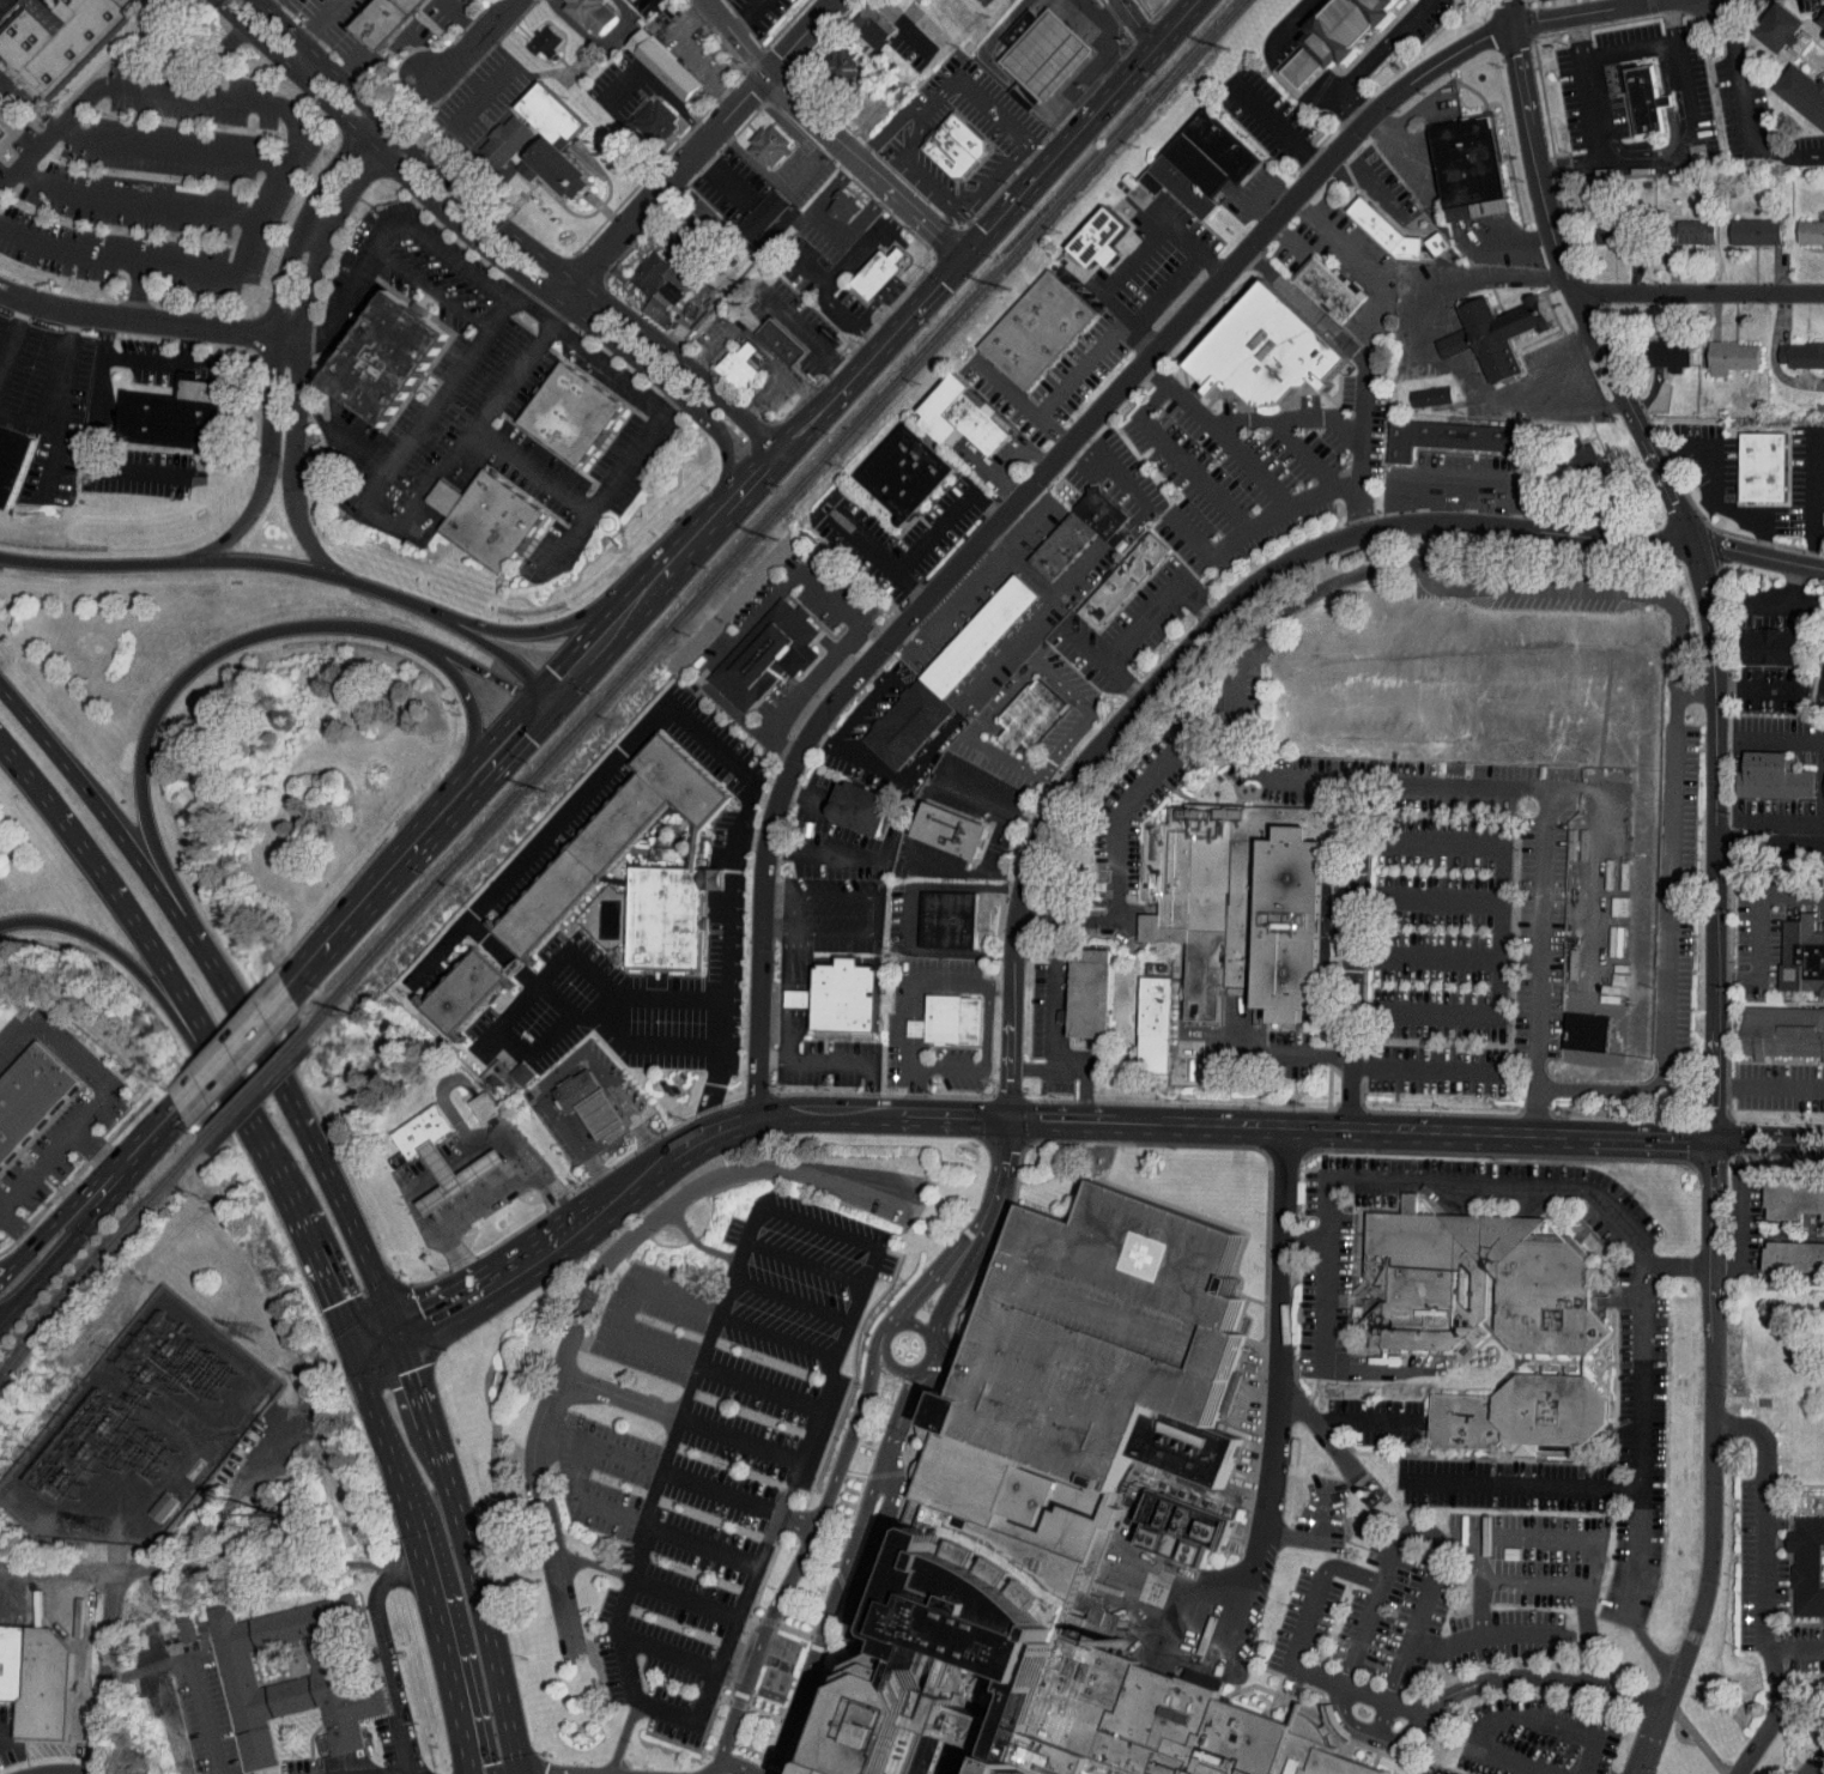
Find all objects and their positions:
road: (837, 0)
road: (1607, 4)
road: (1559, 7)
building: (580, 10)
road: (1581, 12)
road: (749, 14)
building: (1817, 14)
building: (381, 19)
road: (1292, 19)
building: (860, 20)
building: (1769, 22)
road: (319, 23)
road: (1138, 25)
building: (532, 34)
building: (1337, 34)
building: (55, 36)
road: (471, 41)
building: (1030, 46)
road: (1381, 48)
road: (1289, 50)
road: (1631, 50)
road: (691, 54)
building: (665, 65)
road: (1303, 65)
road: (304, 67)
road: (1737, 69)
road: (1320, 83)
building: (1631, 92)
building: (1798, 92)
road: (28, 102)
road: (984, 104)
road: (1345, 108)
building: (643, 110)
road: (886, 126)
road: (1278, 126)
building: (492, 132)
building: (539, 133)
road: (834, 133)
building: (756, 138)
building: (771, 146)
building: (956, 146)
road: (165, 149)
road: (287, 150)
road: (699, 150)
road: (1783, 156)
road: (753, 162)
building: (1200, 163)
road: (812, 164)
road: (1650, 165)
building: (1467, 168)
road: (943, 198)
building: (830, 199)
road: (133, 200)
building: (751, 205)
building: (846, 206)
road: (938, 211)
building: (764, 212)
building: (1594, 225)
building: (1747, 225)
building: (1804, 225)
building: (1680, 226)
road: (824, 228)
road: (885, 229)
building: (1386, 231)
road: (508, 232)
road: (310, 234)
road: (1281, 234)
building: (1424, 237)
building: (1102, 243)
building: (1437, 244)
road: (485, 246)
road: (1352, 255)
traffic signals: (968, 260)
road: (1131, 260)
road: (455, 262)
building: (866, 265)
road: (806, 270)
road: (842, 271)
building: (879, 271)
building: (644, 279)
road: (349, 281)
road: (889, 281)
road: (1495, 281)
building: (1327, 287)
road: (426, 290)
road: (1698, 292)
road: (135, 293)
road: (849, 317)
road: (146, 323)
building: (1490, 326)
building: (1037, 329)
road: (1114, 331)
road: (1335, 333)
building: (1441, 335)
road: (272, 337)
road: (12, 338)
building: (782, 341)
road: (295, 345)
building: (1271, 350)
building: (1672, 352)
building: (1802, 353)
building: (386, 355)
building: (1734, 356)
building: (725, 358)
road: (1428, 361)
road: (160, 362)
road: (605, 364)
building: (739, 365)
road: (1549, 367)
building: (1418, 388)
building: (1430, 396)
road: (1019, 401)
road: (63, 402)
road: (1565, 402)
building: (569, 412)
building: (168, 413)
building: (962, 416)
road: (1292, 419)
road: (92, 436)
road: (335, 440)
building: (1462, 440)
building: (1572, 449)
road: (1304, 455)
building: (14, 464)
road: (1253, 464)
road: (51, 465)
building: (1764, 467)
building: (905, 472)
road: (1111, 473)
road: (1447, 474)
road: (738, 488)
road: (1214, 496)
road: (1302, 498)
road: (1419, 498)
road: (1814, 498)
road: (1466, 501)
road: (1012, 503)
road: (589, 504)
road: (1729, 508)
railway: (771, 514)
building: (486, 516)
road: (943, 517)
road: (1014, 519)
road: (371, 520)
building: (1078, 532)
road: (565, 538)
road: (878, 557)
road: (292, 565)
road: (1074, 571)
building: (1110, 573)
building: (1122, 580)
road: (952, 586)
road: (1564, 592)
road: (1243, 598)
road: (1784, 603)
road: (747, 620)
road: (1139, 626)
road: (547, 628)
building: (1822, 638)
road: (1083, 644)
building: (1771, 647)
building: (765, 652)
road: (491, 676)
building: (949, 676)
road: (1023, 676)
traffic signals: (563, 680)
traffic signals: (511, 688)
road: (805, 690)
road: (1756, 691)
road: (166, 696)
road: (970, 696)
road: (869, 701)
building: (1029, 715)
road: (473, 718)
traffic signals: (519, 728)
road: (705, 737)
road: (1770, 737)
road: (1235, 744)
building: (1775, 776)
building: (1818, 777)
road: (1053, 783)
road: (1820, 794)
road: (805, 797)
building: (860, 805)
road: (910, 813)
road: (110, 827)
building: (950, 828)
road: (1717, 835)
building: (612, 836)
road: (755, 837)
road: (1459, 841)
road: (1770, 844)
road: (820, 853)
road: (90, 867)
road: (875, 896)
building: (1244, 902)
road: (910, 913)
building: (668, 915)
building: (947, 918)
road: (1758, 925)
road: (778, 928)
road: (1497, 928)
road: (1666, 928)
road: (93, 937)
road: (1352, 955)
building: (1800, 956)
road: (1539, 962)
road: (586, 970)
road: (998, 982)
road: (904, 985)
building: (784, 991)
building: (1092, 992)
building: (465, 993)
road: (798, 994)
building: (847, 997)
road: (551, 999)
road: (1054, 1011)
building: (1141, 1012)
road: (1449, 1012)
road: (592, 1015)
building: (949, 1018)
building: (1157, 1019)
building: (1783, 1031)
road: (648, 1045)
road: (236, 1047)
road: (1275, 1055)
road: (982, 1060)
road: (840, 1061)
building: (508, 1066)
road: (1423, 1068)
road: (560, 1070)
road: (1084, 1079)
railway: (252, 1085)
road: (1769, 1088)
building: (576, 1090)
road: (909, 1092)
road: (232, 1095)
building: (30, 1096)
road: (102, 1097)
building: (469, 1100)
building: (601, 1113)
road: (880, 1116)
traffic signals: (1006, 1121)
road: (1262, 1126)
building: (422, 1130)
road: (496, 1134)
road: (705, 1134)
road: (1671, 1139)
traffic signals: (1715, 1142)
road: (97, 1149)
road: (309, 1149)
road: (133, 1156)
road: (444, 1170)
building: (454, 1175)
road: (636, 1179)
road: (998, 1191)
road: (484, 1199)
road: (414, 1201)
building: (1794, 1203)
road: (592, 1209)
road: (1, 1210)
road: (1619, 1215)
road: (19, 1225)
road: (820, 1225)
road: (55, 1227)
road: (1738, 1229)
road: (698, 1245)
railway: (95, 1255)
helipad: (1151, 1255)
building: (1794, 1255)
road: (614, 1257)
road: (523, 1259)
road: (14, 1260)
road: (808, 1260)
road: (14, 1264)
road: (47, 1266)
road: (1680, 1266)
road: (323, 1275)
road: (923, 1288)
road: (945, 1297)
traffic signals: (334, 1301)
road: (792, 1301)
road: (625, 1308)
road: (719, 1312)
traffic signals: (426, 1316)
road: (414, 1321)
road: (735, 1321)
road: (913, 1322)
building: (1496, 1325)
building: (1098, 1332)
parking garage: (1098, 1332)
road: (881, 1333)
road: (927, 1354)
road: (920, 1366)
road: (889, 1367)
road: (717, 1370)
traffic signals: (408, 1372)
road: (1286, 1385)
road: (414, 1391)
road: (619, 1398)
road: (1346, 1427)
power substation: (139, 1430)
parking lot: (708, 1440)
road: (739, 1442)
road: (1344, 1451)
power tower: (139, 1465)
road: (580, 1470)
power tower: (149, 1473)
road: (672, 1473)
road: (1531, 1482)
road: (789, 1487)
building: (150, 1500)
road: (798, 1520)
power tower: (101, 1526)
road: (669, 1532)
building: (1190, 1532)
road: (1317, 1533)
road: (1537, 1534)
road: (426, 1557)
road: (798, 1558)
road: (557, 1561)
building: (1808, 1566)
road: (843, 1567)
road: (111, 1570)
road: (1761, 1581)
road: (1532, 1585)
road: (631, 1587)
road: (1479, 1587)
road: (1188, 1593)
road: (685, 1598)
road: (1376, 1603)
road: (848, 1610)
road: (1586, 1610)
road: (479, 1611)
building: (172, 1618)
road: (1479, 1637)
road: (462, 1646)
building: (1029, 1648)
road: (665, 1651)
road: (383, 1652)
road: (1795, 1653)
building: (275, 1669)
road: (110, 1672)
road: (193, 1677)
road: (1535, 1677)
building: (36, 1679)
road: (1371, 1695)
road: (81, 1696)
road: (95, 1696)
road: (665, 1714)
road: (1509, 1717)
road: (1652, 1737)
road: (1696, 1737)
road: (623, 1738)
traffic signals: (491, 1762)
road: (731, 1766)
parking lot: (1432, 1768)
road: (565, 1769)
road: (1820, 1770)
road: (709, 1773)

